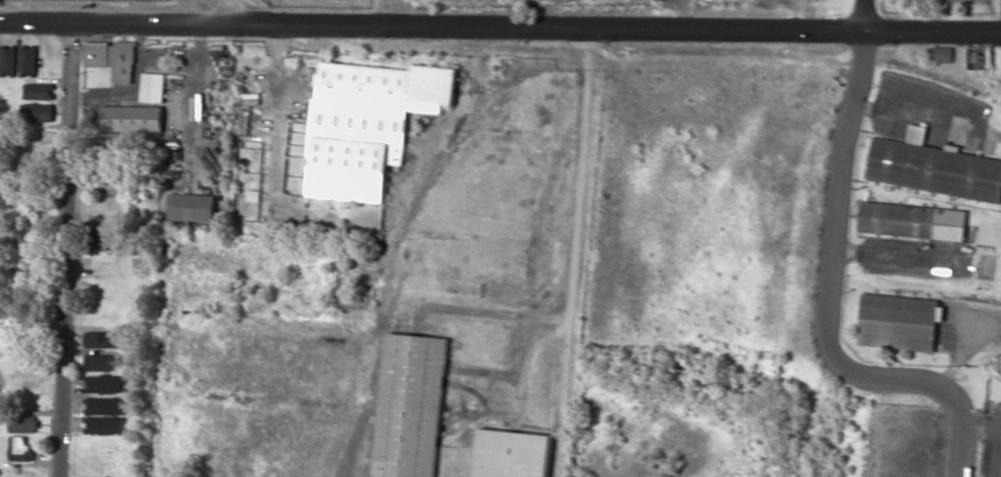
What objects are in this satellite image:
road: (395, 12)
road: (500, 25)
building: (942, 54)
building: (113, 58)
building: (29, 59)
building: (8, 60)
building: (153, 87)
building: (40, 90)
building: (37, 112)
building: (133, 117)
road: (274, 121)
building: (367, 123)
building: (933, 167)
building: (253, 195)
building: (192, 206)
building: (913, 220)
building: (101, 237)
road: (66, 251)
road: (826, 284)
building: (898, 321)
building: (102, 338)
building: (102, 361)
building: (104, 383)
building: (105, 405)
building: (409, 406)
building: (23, 423)
building: (106, 424)
building: (20, 448)
building: (512, 453)

